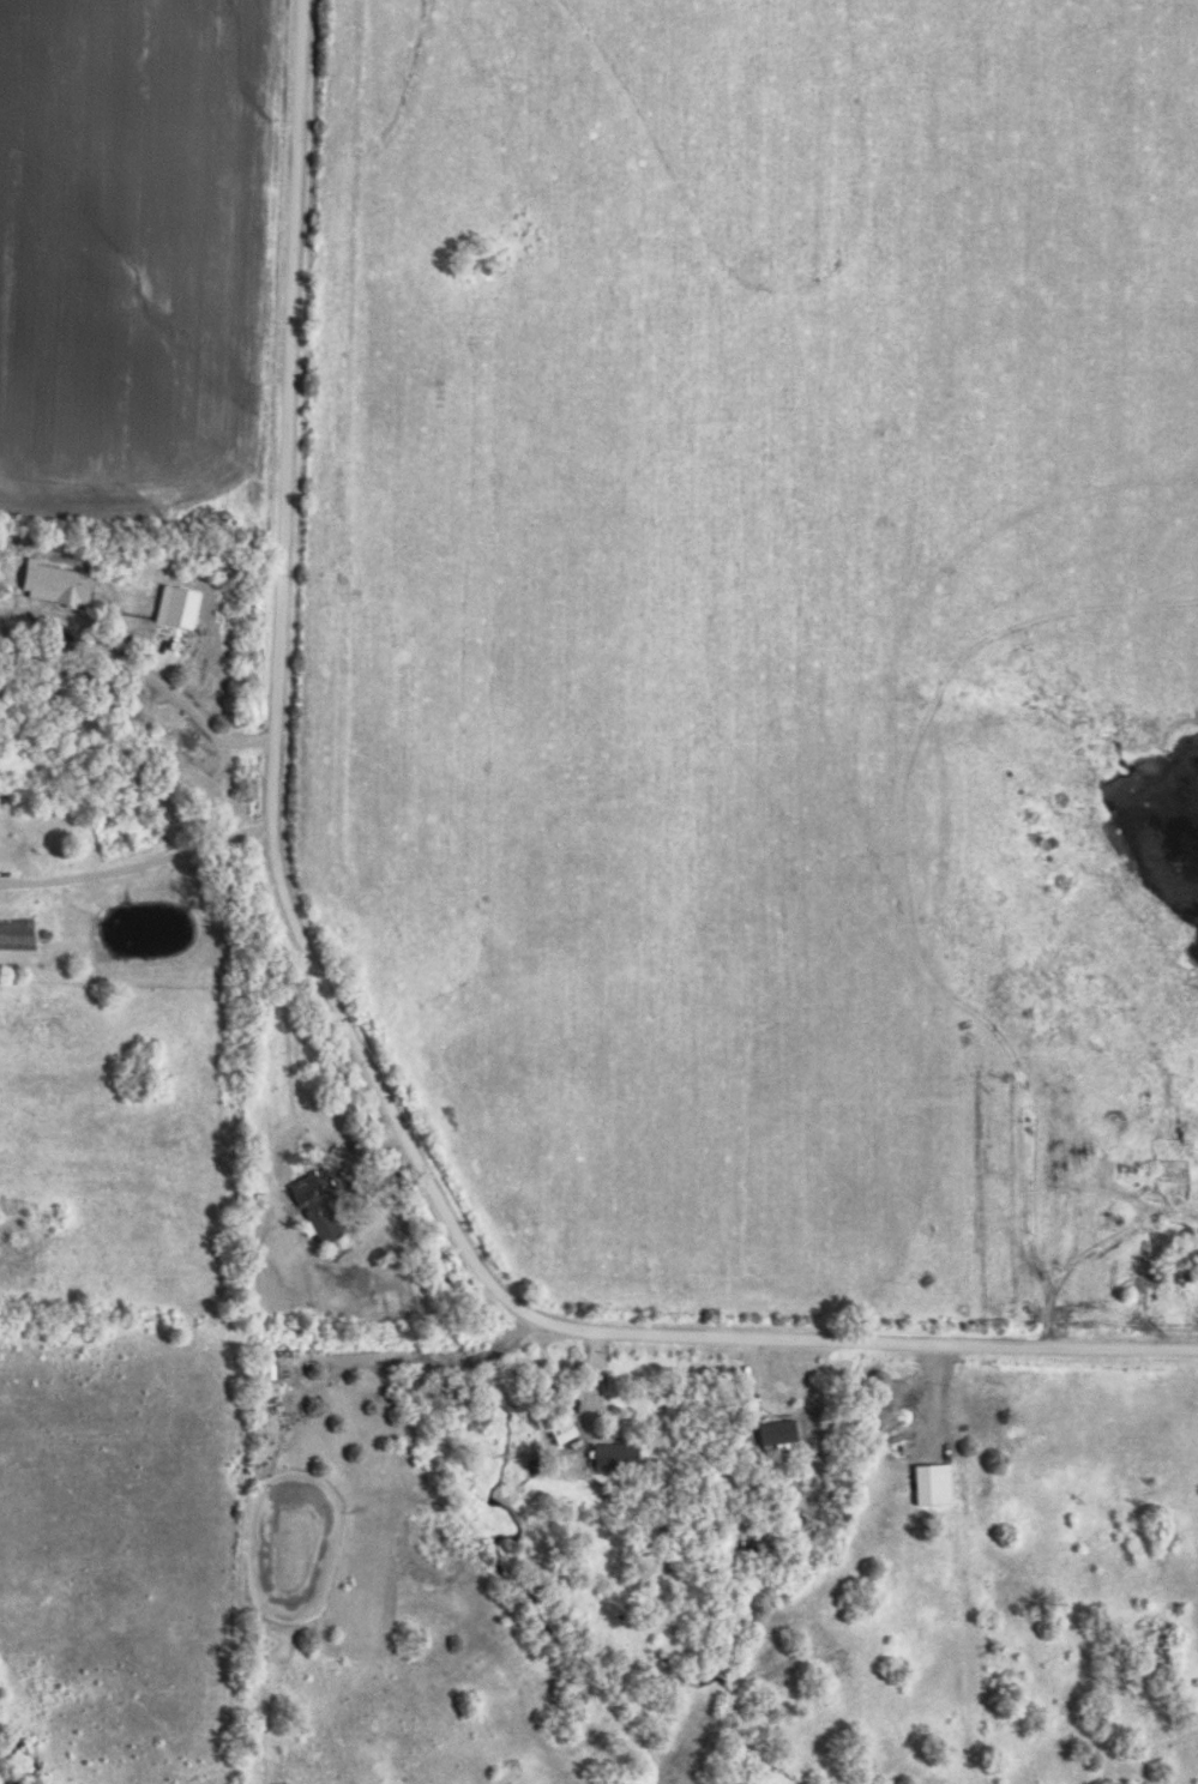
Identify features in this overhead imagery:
building: (49, 580)
road: (180, 692)
road: (139, 863)
road: (342, 1014)
building: (313, 1211)
building: (1185, 1256)
building: (775, 1433)
building: (614, 1457)
building: (931, 1483)

